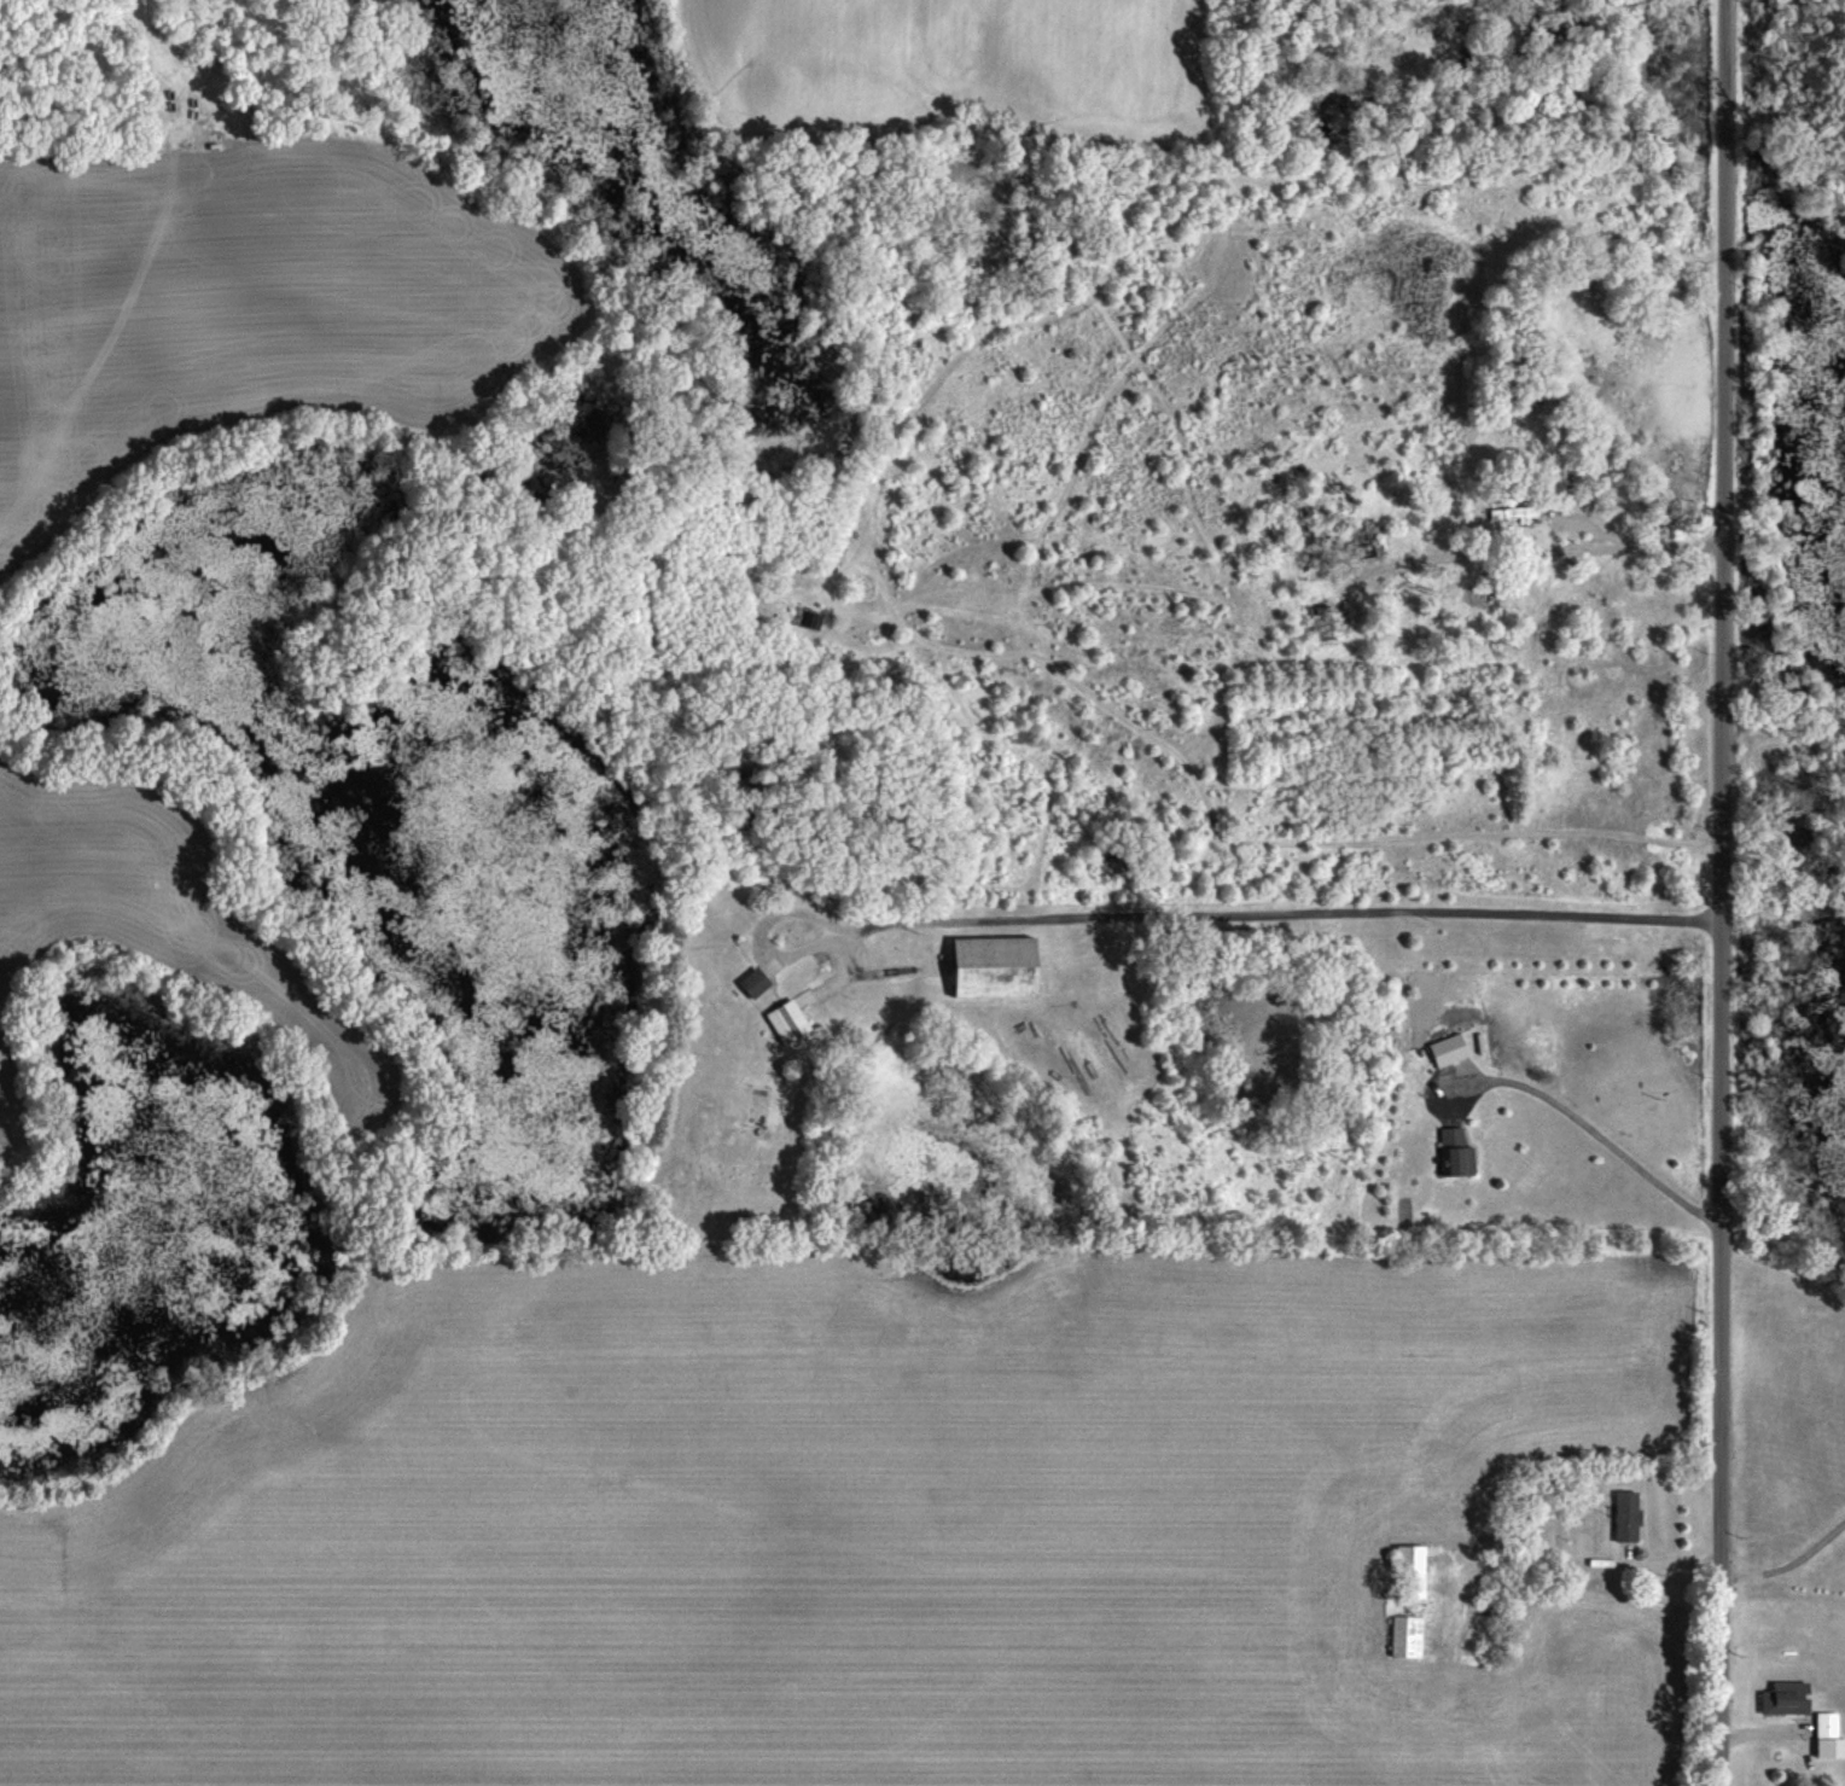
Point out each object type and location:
building: (1514, 514)
building: (1369, 533)
building: (1327, 630)
road: (1723, 892)
building: (999, 967)
building: (756, 983)
building: (791, 1022)
building: (1450, 1051)
building: (1456, 1154)
building: (1628, 1516)
building: (1413, 1572)
building: (1408, 1637)
building: (1787, 1698)
building: (1829, 1736)

